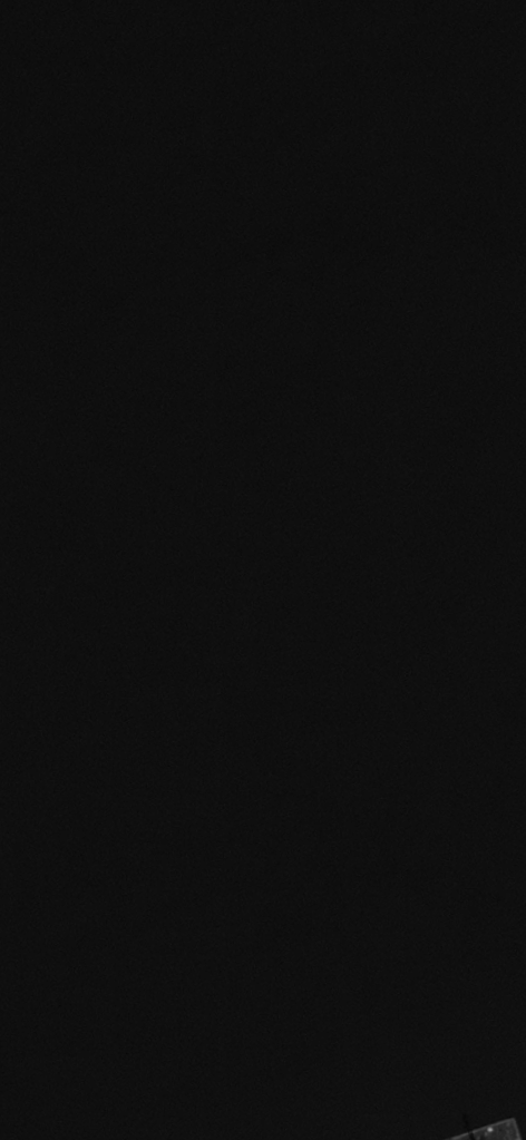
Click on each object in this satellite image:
river: (116, 74)
building: (469, 1124)

